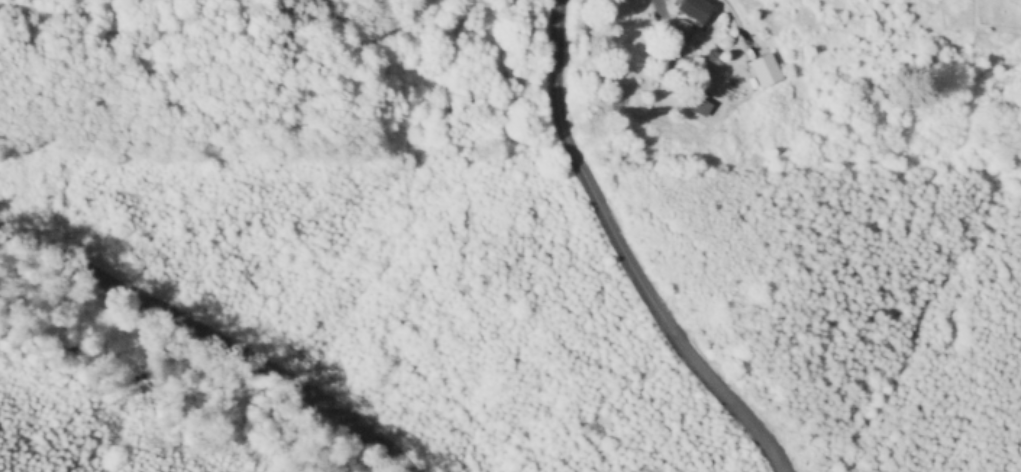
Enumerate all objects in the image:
building: (693, 10)
building: (671, 55)
building: (713, 58)
building: (763, 71)
building: (696, 106)
road: (619, 251)
road: (202, 308)

